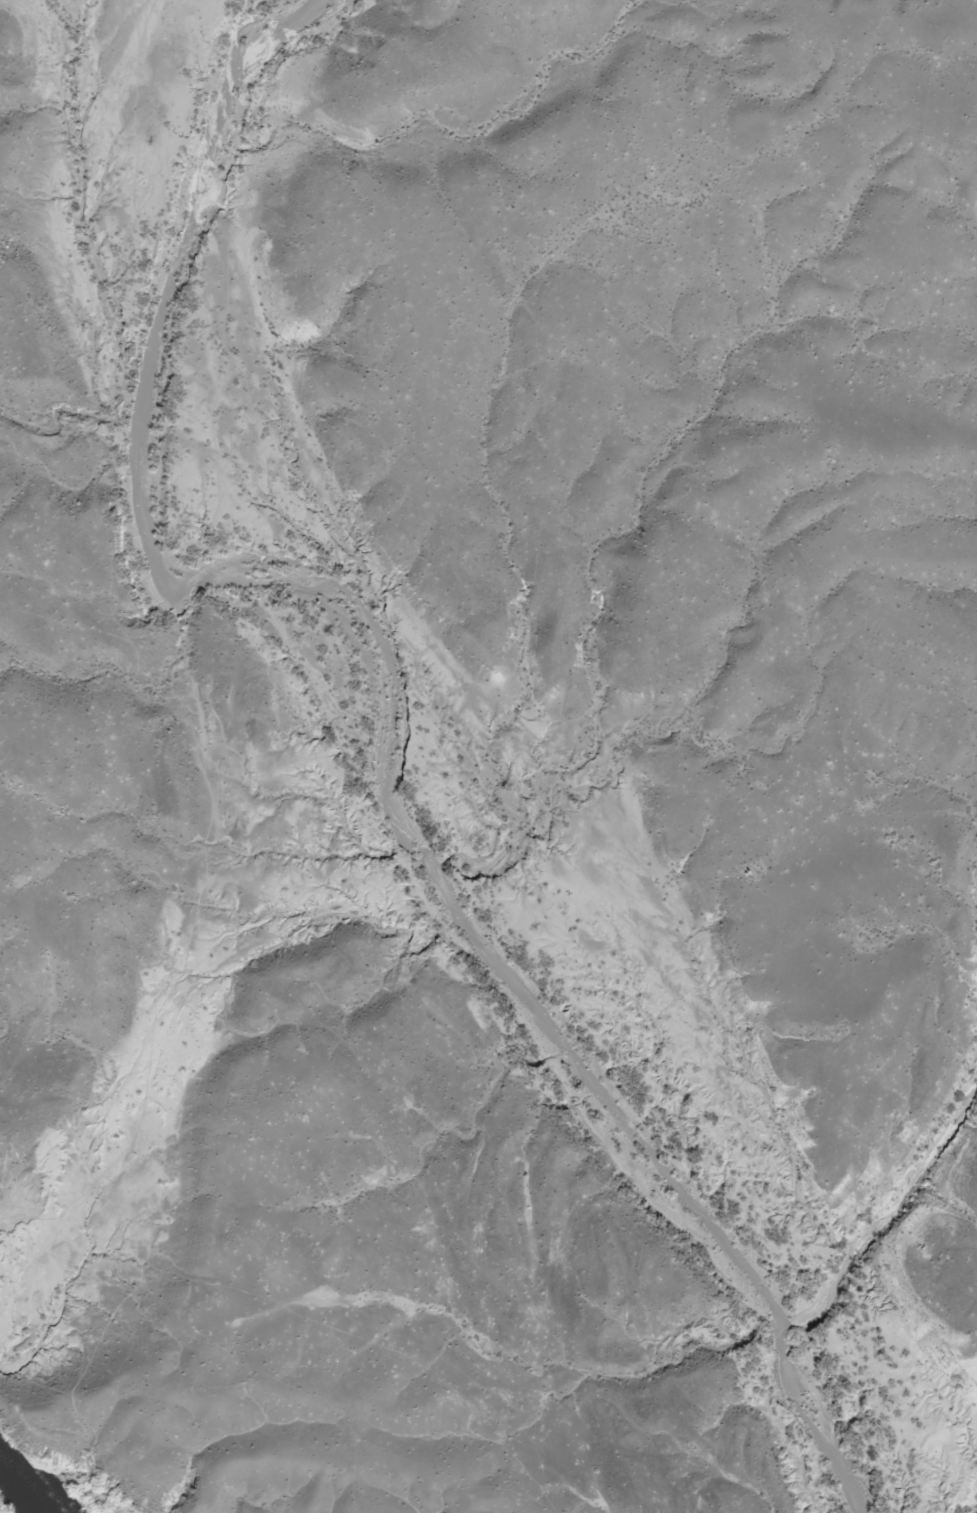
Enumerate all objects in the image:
river: (17, 1487)

